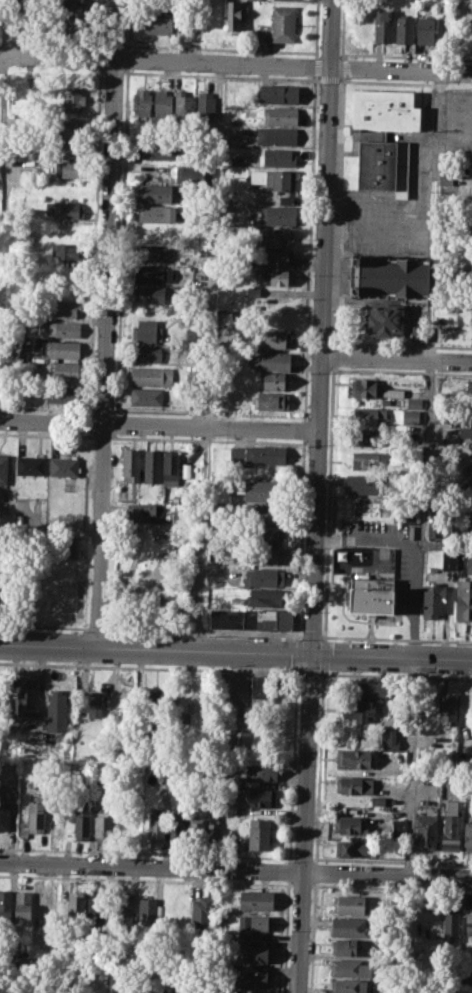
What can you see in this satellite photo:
building: (233, 16)
building: (283, 23)
building: (158, 24)
building: (383, 25)
road: (343, 29)
building: (404, 29)
building: (425, 29)
road: (235, 63)
road: (344, 67)
building: (278, 93)
building: (73, 99)
building: (141, 102)
building: (162, 102)
building: (183, 103)
building: (205, 105)
building: (280, 115)
building: (73, 129)
building: (276, 135)
building: (234, 138)
building: (382, 138)
building: (157, 149)
building: (73, 150)
building: (278, 157)
building: (68, 169)
building: (445, 177)
building: (280, 179)
building: (154, 192)
road: (339, 209)
building: (65, 210)
building: (157, 213)
building: (277, 213)
building: (275, 237)
road: (214, 244)
building: (65, 251)
building: (154, 252)
building: (277, 257)
building: (153, 272)
building: (276, 277)
building: (149, 293)
building: (394, 293)
building: (67, 308)
building: (470, 319)
road: (105, 324)
road: (318, 327)
building: (63, 329)
building: (146, 331)
building: (273, 338)
building: (62, 348)
building: (145, 353)
road: (335, 355)
road: (394, 359)
building: (270, 360)
building: (66, 370)
road: (401, 371)
building: (150, 376)
building: (274, 381)
building: (364, 387)
building: (468, 387)
building: (392, 392)
building: (63, 393)
building: (145, 396)
building: (270, 400)
building: (413, 402)
building: (443, 414)
building: (369, 415)
building: (410, 417)
road: (158, 424)
building: (466, 430)
road: (46, 434)
road: (101, 436)
building: (369, 437)
road: (302, 445)
building: (256, 454)
building: (368, 460)
building: (30, 465)
building: (130, 465)
building: (63, 466)
building: (153, 466)
building: (2, 468)
building: (171, 468)
building: (186, 470)
building: (467, 470)
road: (425, 475)
building: (365, 484)
building: (471, 486)
building: (259, 490)
road: (329, 503)
building: (148, 512)
building: (264, 515)
building: (409, 519)
building: (471, 525)
building: (435, 529)
road: (50, 531)
building: (262, 537)
road: (203, 538)
building: (66, 545)
road: (412, 553)
building: (263, 556)
building: (448, 560)
building: (468, 564)
building: (264, 577)
building: (371, 595)
building: (265, 597)
building: (463, 600)
building: (432, 601)
building: (252, 619)
road: (44, 625)
road: (97, 628)
road: (204, 631)
road: (311, 635)
road: (395, 638)
road: (154, 650)
road: (296, 653)
road: (324, 654)
road: (390, 659)
road: (150, 666)
road: (308, 672)
road: (394, 675)
building: (367, 689)
building: (260, 693)
building: (24, 699)
building: (90, 705)
building: (56, 706)
building: (155, 706)
building: (447, 706)
building: (280, 710)
building: (359, 710)
building: (390, 736)
building: (239, 738)
building: (353, 757)
road: (292, 765)
road: (320, 766)
building: (260, 772)
building: (354, 784)
building: (430, 790)
road: (411, 796)
building: (254, 797)
building: (4, 816)
building: (33, 819)
building: (81, 822)
road: (303, 824)
building: (349, 824)
building: (103, 826)
building: (157, 827)
building: (213, 827)
building: (450, 827)
building: (177, 828)
building: (397, 829)
building: (425, 829)
building: (196, 831)
building: (257, 834)
building: (467, 834)
building: (351, 847)
road: (235, 869)
road: (288, 870)
road: (316, 871)
building: (255, 899)
building: (350, 904)
building: (5, 905)
building: (74, 906)
building: (38, 907)
building: (96, 907)
building: (22, 908)
building: (122, 908)
building: (146, 909)
building: (201, 913)
building: (450, 918)
building: (468, 920)
building: (256, 924)
building: (349, 926)
road: (285, 936)
road: (313, 937)
building: (344, 947)
building: (256, 953)
building: (349, 967)
building: (462, 977)
building: (256, 978)
building: (349, 986)
building: (253, 992)

